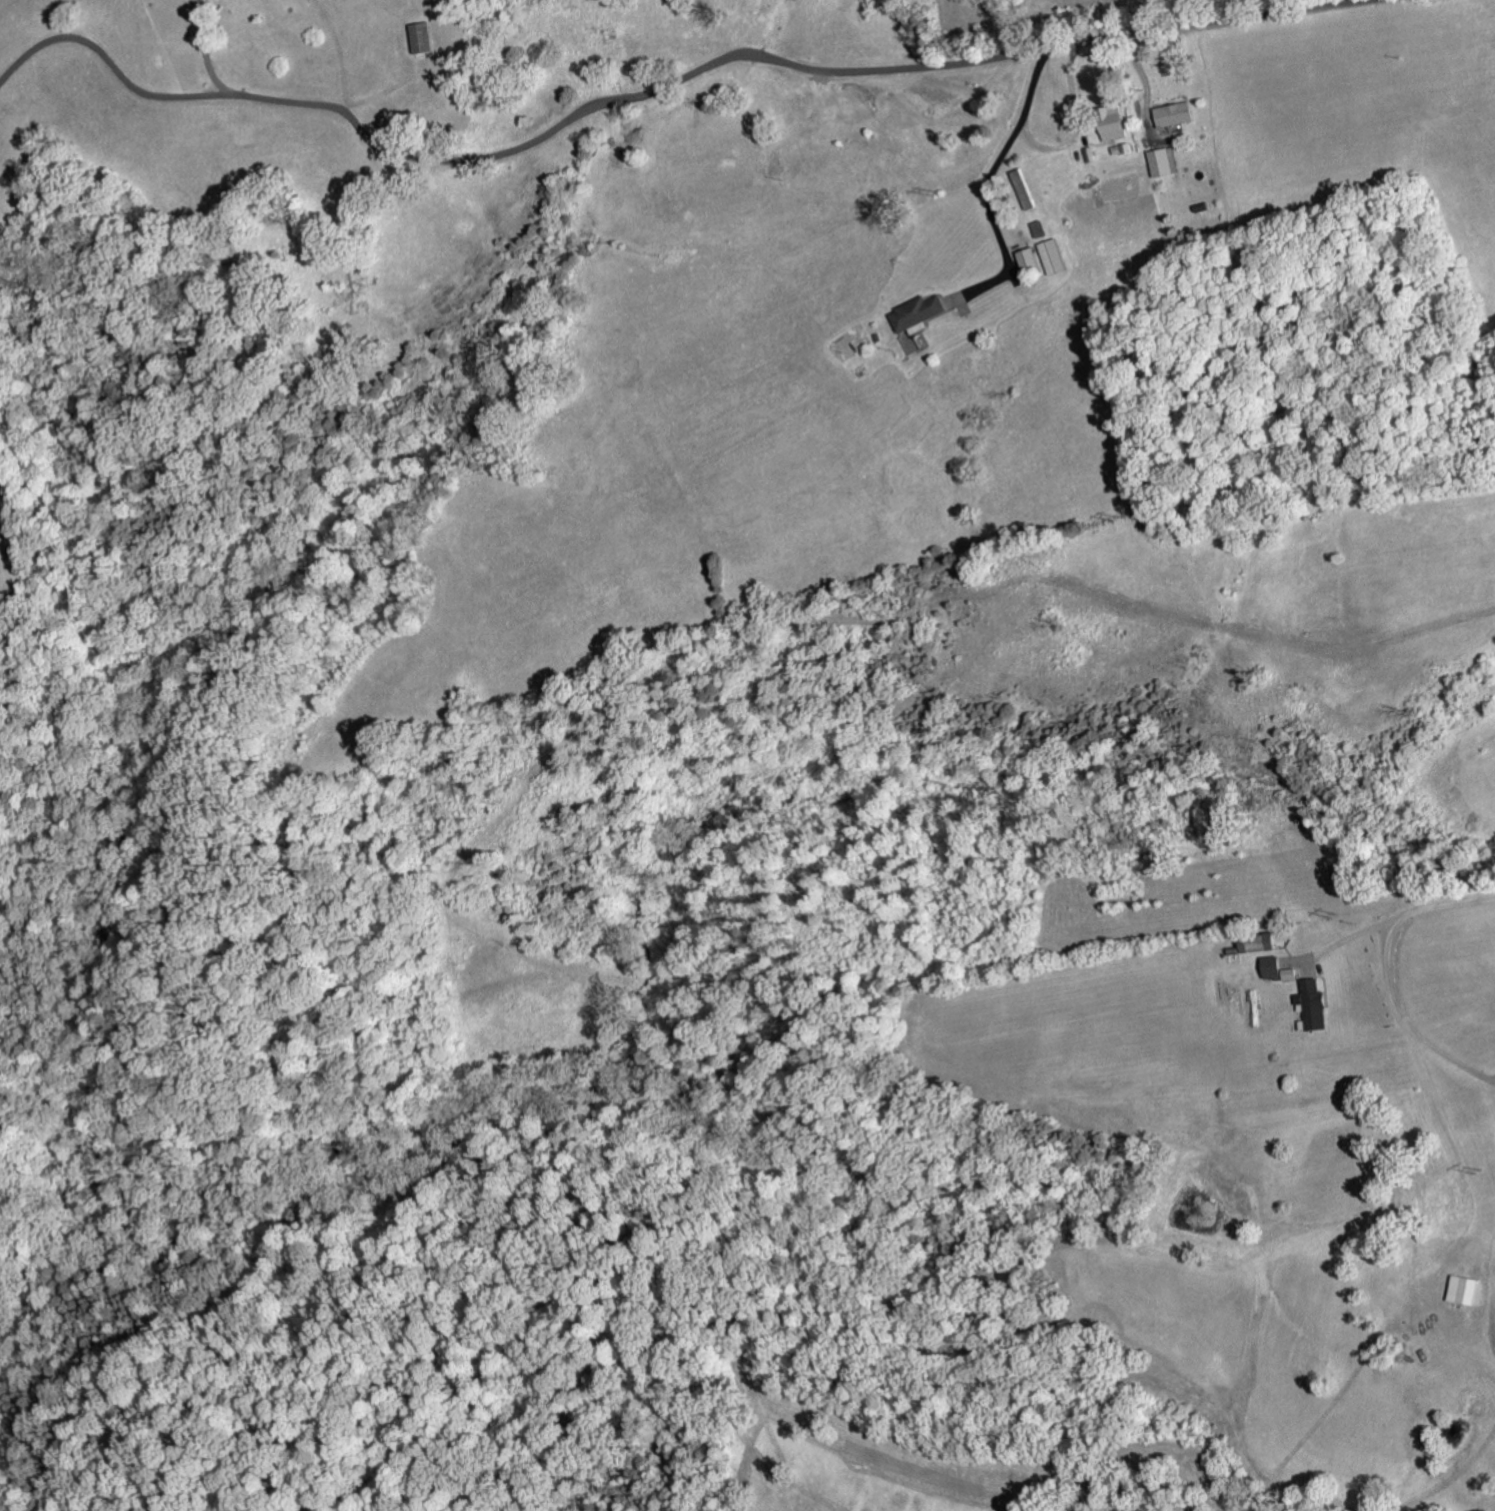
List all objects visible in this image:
building: (419, 37)
road: (205, 48)
road: (658, 89)
building: (1170, 114)
building: (1108, 122)
building: (1159, 162)
building: (1020, 188)
building: (1047, 256)
building: (1023, 259)
building: (912, 312)
building: (1254, 943)
road: (1388, 966)
building: (1268, 967)
building: (1286, 975)
building: (1309, 1005)
building: (1461, 1290)

